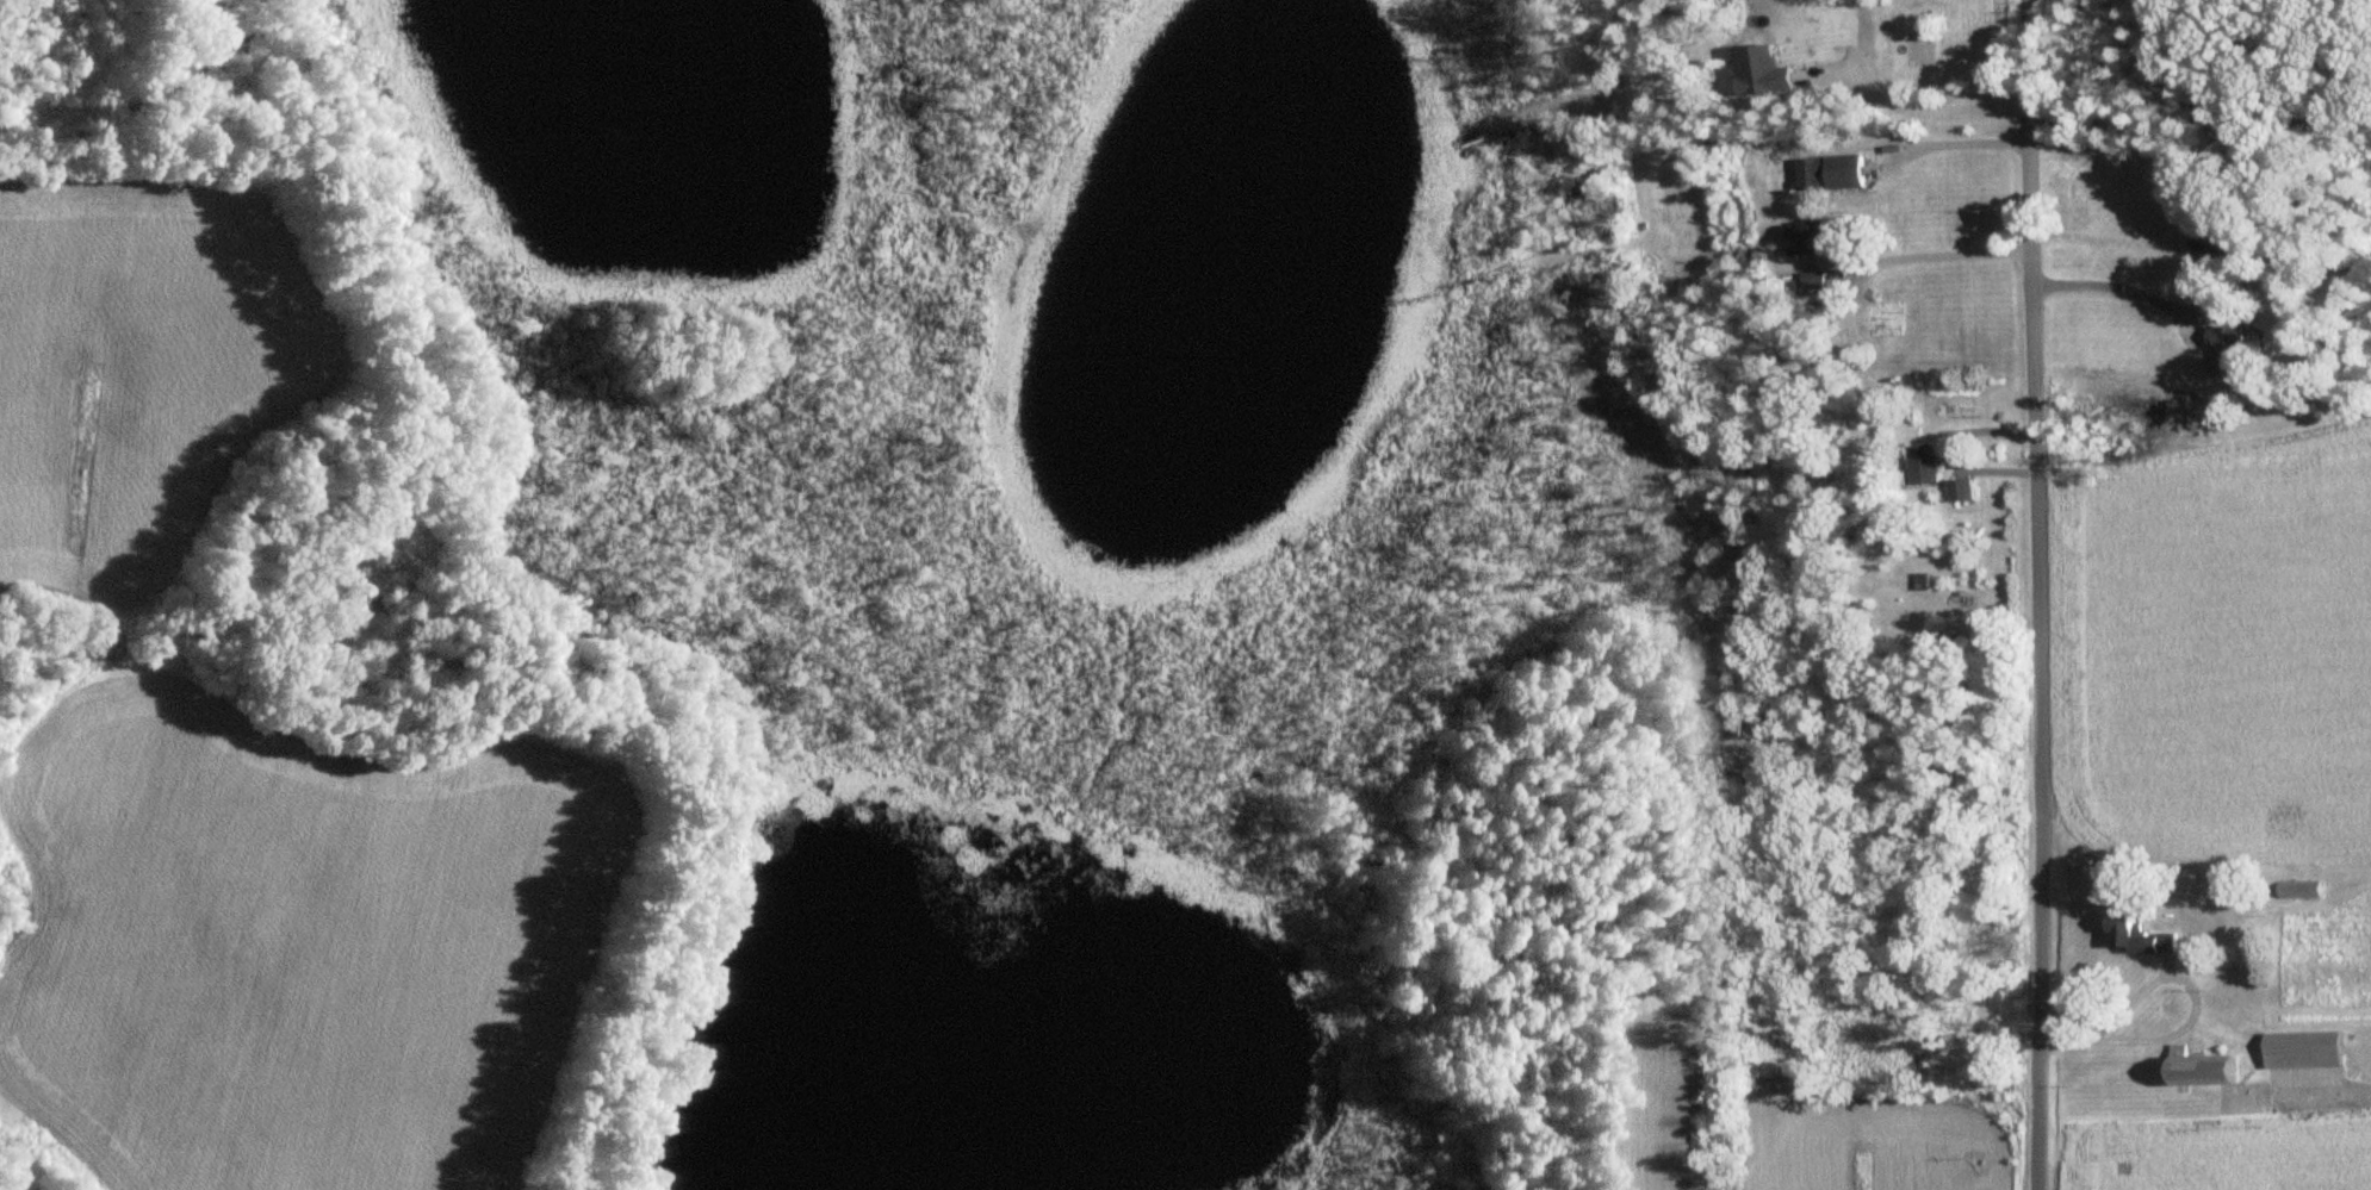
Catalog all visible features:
road: (1901, 104)
road: (1962, 142)
building: (1845, 174)
building: (1811, 175)
building: (1810, 239)
road: (1951, 253)
building: (2226, 253)
road: (2105, 282)
building: (1817, 287)
building: (2227, 351)
building: (1925, 467)
building: (1961, 493)
road: (2035, 594)
building: (2299, 891)
building: (2140, 939)
road: (2193, 1016)
building: (2304, 1051)
building: (2204, 1071)

